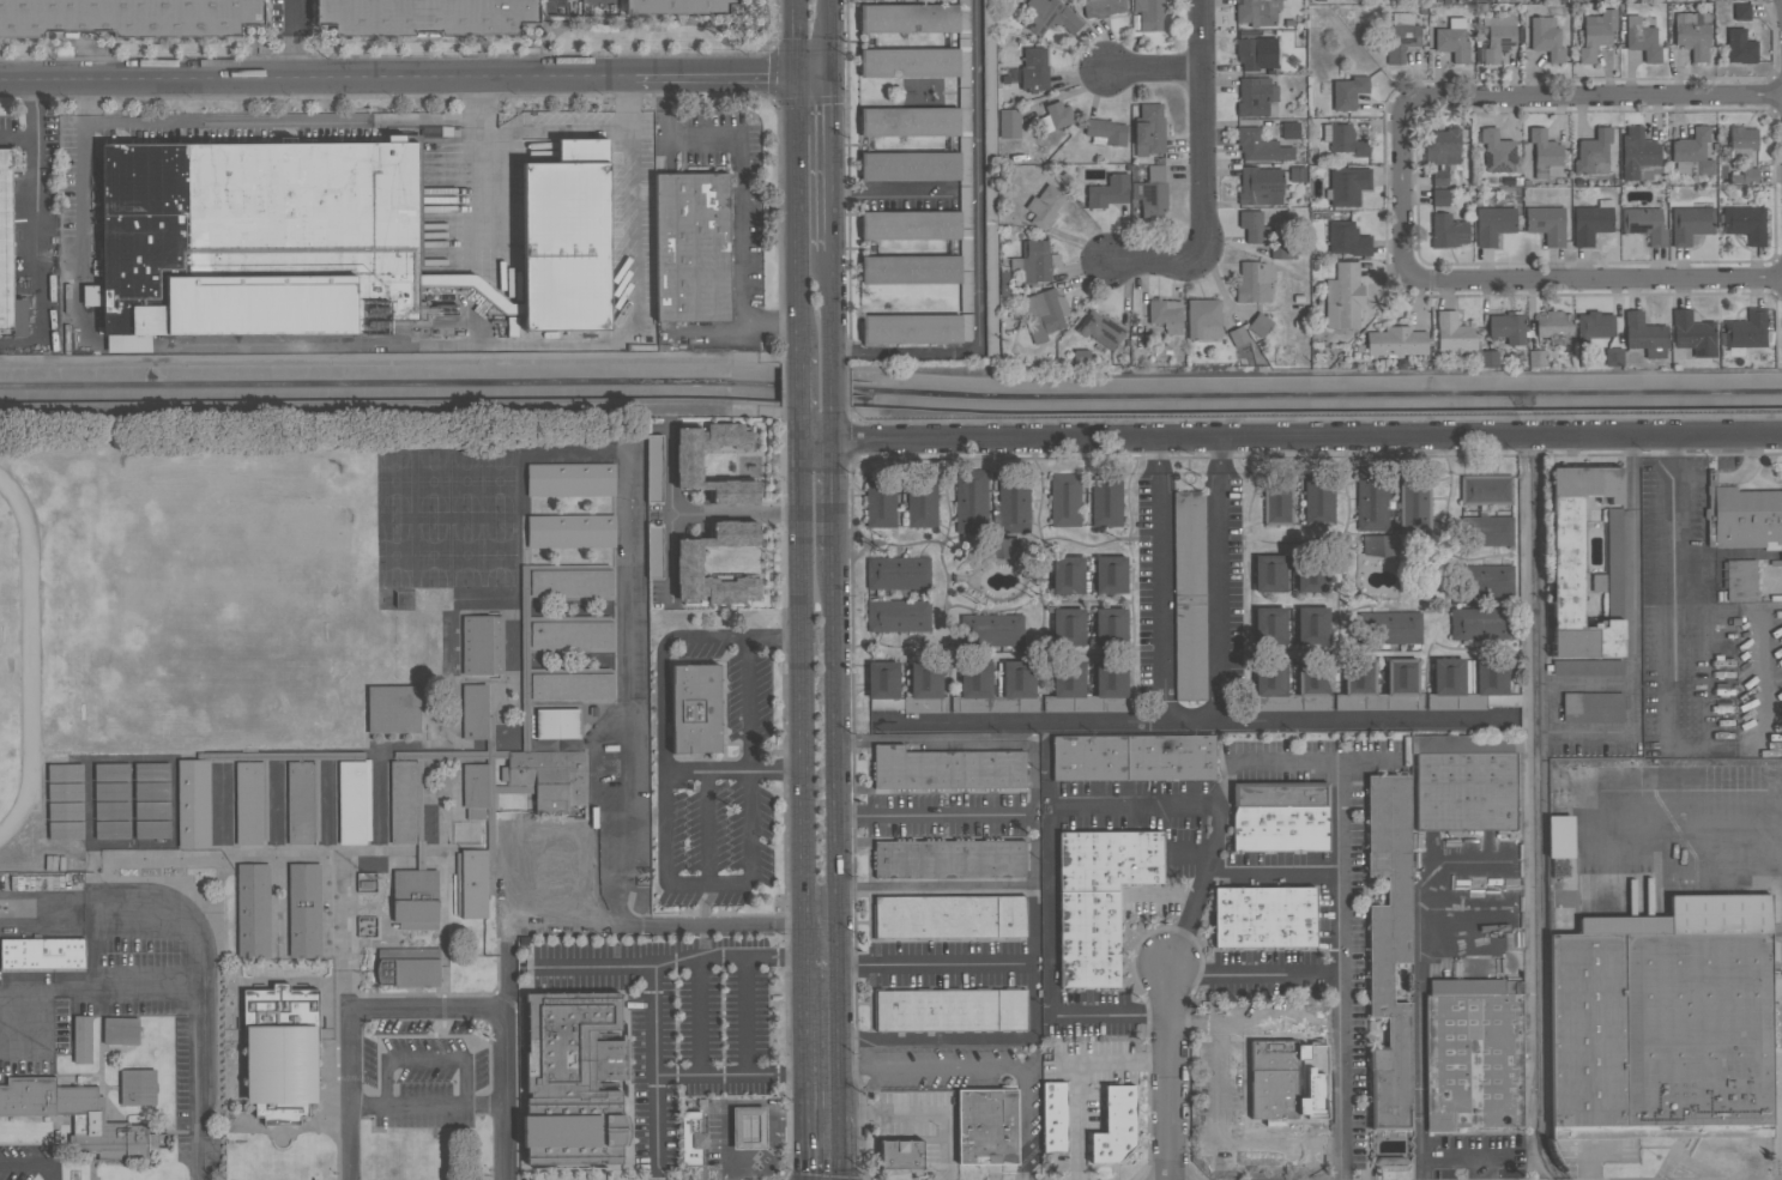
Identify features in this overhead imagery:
building: (677, 6)
building: (1101, 7)
building: (1257, 11)
building: (1741, 11)
building: (1148, 13)
building: (1049, 16)
building: (128, 17)
building: (425, 17)
building: (908, 18)
building: (1596, 32)
building: (1692, 32)
building: (1402, 36)
building: (1498, 36)
road: (796, 37)
road: (823, 37)
building: (1546, 37)
road: (292, 38)
building: (1452, 38)
building: (1642, 38)
building: (1740, 46)
building: (1256, 53)
building: (908, 62)
building: (1034, 68)
road: (1155, 69)
building: (989, 73)
road: (714, 74)
road: (810, 74)
road: (315, 75)
building: (1348, 91)
building: (1255, 96)
road: (1593, 97)
road: (36, 108)
building: (1055, 116)
road: (283, 119)
building: (910, 121)
building: (1009, 122)
building: (1149, 129)
road: (1203, 129)
building: (1289, 129)
building: (1105, 131)
road: (18, 138)
building: (1343, 139)
building: (1741, 144)
building: (1261, 146)
building: (1443, 146)
building: (1497, 150)
building: (1593, 152)
building: (1692, 152)
building: (1545, 153)
building: (1638, 155)
road: (824, 163)
building: (910, 165)
road: (481, 170)
building: (965, 170)
building: (1745, 176)
building: (1439, 177)
building: (1261, 186)
building: (1346, 186)
road: (738, 189)
road: (1406, 189)
building: (1109, 190)
road: (889, 193)
building: (1152, 194)
building: (1440, 196)
building: (990, 202)
building: (1044, 205)
road: (83, 213)
road: (798, 217)
building: (1591, 222)
building: (1644, 223)
building: (1690, 223)
building: (1745, 223)
building: (1493, 224)
building: (1546, 224)
building: (910, 225)
building: (1254, 225)
building: (1446, 230)
building: (566, 237)
building: (1347, 238)
building: (262, 240)
building: (691, 247)
road: (979, 249)
building: (8, 252)
building: (1282, 252)
road: (35, 255)
road: (1158, 260)
building: (1033, 261)
building: (910, 270)
road: (1594, 280)
building: (1255, 282)
building: (1343, 296)
road: (827, 307)
building: (1044, 314)
building: (1166, 314)
building: (1203, 319)
building: (1260, 323)
building: (990, 325)
building: (1593, 325)
building: (1554, 326)
building: (1508, 327)
building: (911, 328)
building: (1100, 328)
building: (1744, 331)
building: (1452, 332)
building: (1692, 333)
building: (1644, 334)
building: (1237, 335)
building: (1396, 340)
road: (526, 344)
building: (1243, 351)
building: (1611, 357)
building: (1487, 358)
building: (1535, 358)
road: (798, 386)
road: (829, 386)
road: (399, 410)
road: (799, 424)
road: (830, 425)
road: (1291, 438)
building: (687, 459)
building: (654, 468)
road: (1746, 470)
road: (668, 477)
building: (570, 479)
road: (1691, 479)
road: (1711, 479)
building: (1485, 490)
building: (1277, 494)
building: (1319, 496)
road: (830, 498)
building: (1106, 498)
building: (1371, 498)
building: (922, 500)
building: (1064, 500)
building: (1415, 500)
building: (880, 501)
building: (971, 501)
building: (1014, 501)
road: (694, 514)
building: (1742, 516)
building: (570, 532)
building: (1479, 533)
building: (1381, 544)
building: (1001, 546)
building: (1613, 546)
building: (654, 552)
road: (1722, 555)
building: (1578, 562)
building: (688, 567)
building: (898, 573)
building: (1068, 574)
building: (1110, 574)
building: (1271, 574)
building: (1311, 574)
road: (1220, 580)
building: (1741, 580)
road: (1158, 581)
building: (570, 582)
building: (1481, 582)
road: (1673, 593)
building: (1189, 595)
building: (898, 616)
building: (1482, 624)
building: (1111, 625)
building: (1271, 625)
building: (1312, 625)
building: (1068, 627)
building: (1389, 628)
building: (990, 629)
building: (572, 634)
road: (774, 639)
road: (708, 641)
building: (482, 645)
building: (1313, 677)
building: (1359, 677)
building: (1403, 677)
building: (1449, 677)
building: (1491, 677)
building: (1270, 678)
road: (1760, 678)
building: (883, 685)
building: (572, 686)
building: (1110, 686)
building: (1017, 688)
building: (1067, 688)
building: (925, 689)
building: (974, 689)
road: (1633, 690)
road: (803, 696)
building: (1503, 701)
road: (749, 706)
building: (1593, 707)
building: (393, 708)
building: (695, 708)
building: (475, 712)
road: (1196, 722)
building: (1132, 758)
road: (1307, 762)
building: (947, 768)
road: (778, 769)
building: (151, 770)
road: (707, 770)
building: (65, 771)
building: (111, 771)
building: (548, 776)
building: (1464, 781)
road: (623, 782)
building: (476, 788)
building: (152, 789)
building: (111, 791)
building: (65, 792)
building: (403, 801)
building: (193, 803)
building: (249, 803)
building: (300, 803)
building: (351, 803)
road: (664, 803)
road: (1214, 804)
building: (66, 810)
building: (111, 810)
building: (151, 810)
road: (932, 815)
building: (1280, 817)
road: (751, 825)
building: (152, 828)
road: (706, 828)
building: (66, 829)
building: (111, 829)
road: (1695, 830)
building: (1559, 836)
building: (949, 858)
road: (833, 869)
road: (1280, 870)
road: (1046, 878)
building: (367, 882)
building: (475, 883)
road: (935, 889)
road: (1035, 890)
building: (415, 898)
building: (1098, 900)
building: (253, 910)
building: (304, 910)
road: (138, 912)
building: (949, 916)
building: (1263, 918)
road: (714, 924)
building: (1389, 945)
building: (42, 954)
road: (671, 963)
road: (935, 963)
building: (407, 967)
road: (1349, 970)
road: (1260, 972)
road: (1419, 978)
road: (162, 988)
road: (431, 1006)
building: (949, 1009)
road: (745, 1015)
road: (1110, 1016)
road: (700, 1017)
building: (1663, 1022)
road: (1249, 1024)
building: (120, 1029)
building: (1776, 1031)
road: (936, 1036)
building: (81, 1039)
building: (280, 1051)
building: (1473, 1053)
road: (807, 1066)
road: (984, 1066)
road: (1171, 1071)
road: (656, 1072)
road: (1079, 1073)
road: (731, 1075)
building: (573, 1079)
building: (1288, 1081)
building: (137, 1087)
road: (427, 1102)
road: (920, 1114)
building: (1055, 1117)
building: (79, 1118)
building: (986, 1125)
building: (1114, 1126)
building: (748, 1127)
building: (691, 1138)
road: (1227, 1144)
building: (725, 1146)
building: (900, 1154)
road: (1450, 1157)
road: (30, 1163)

